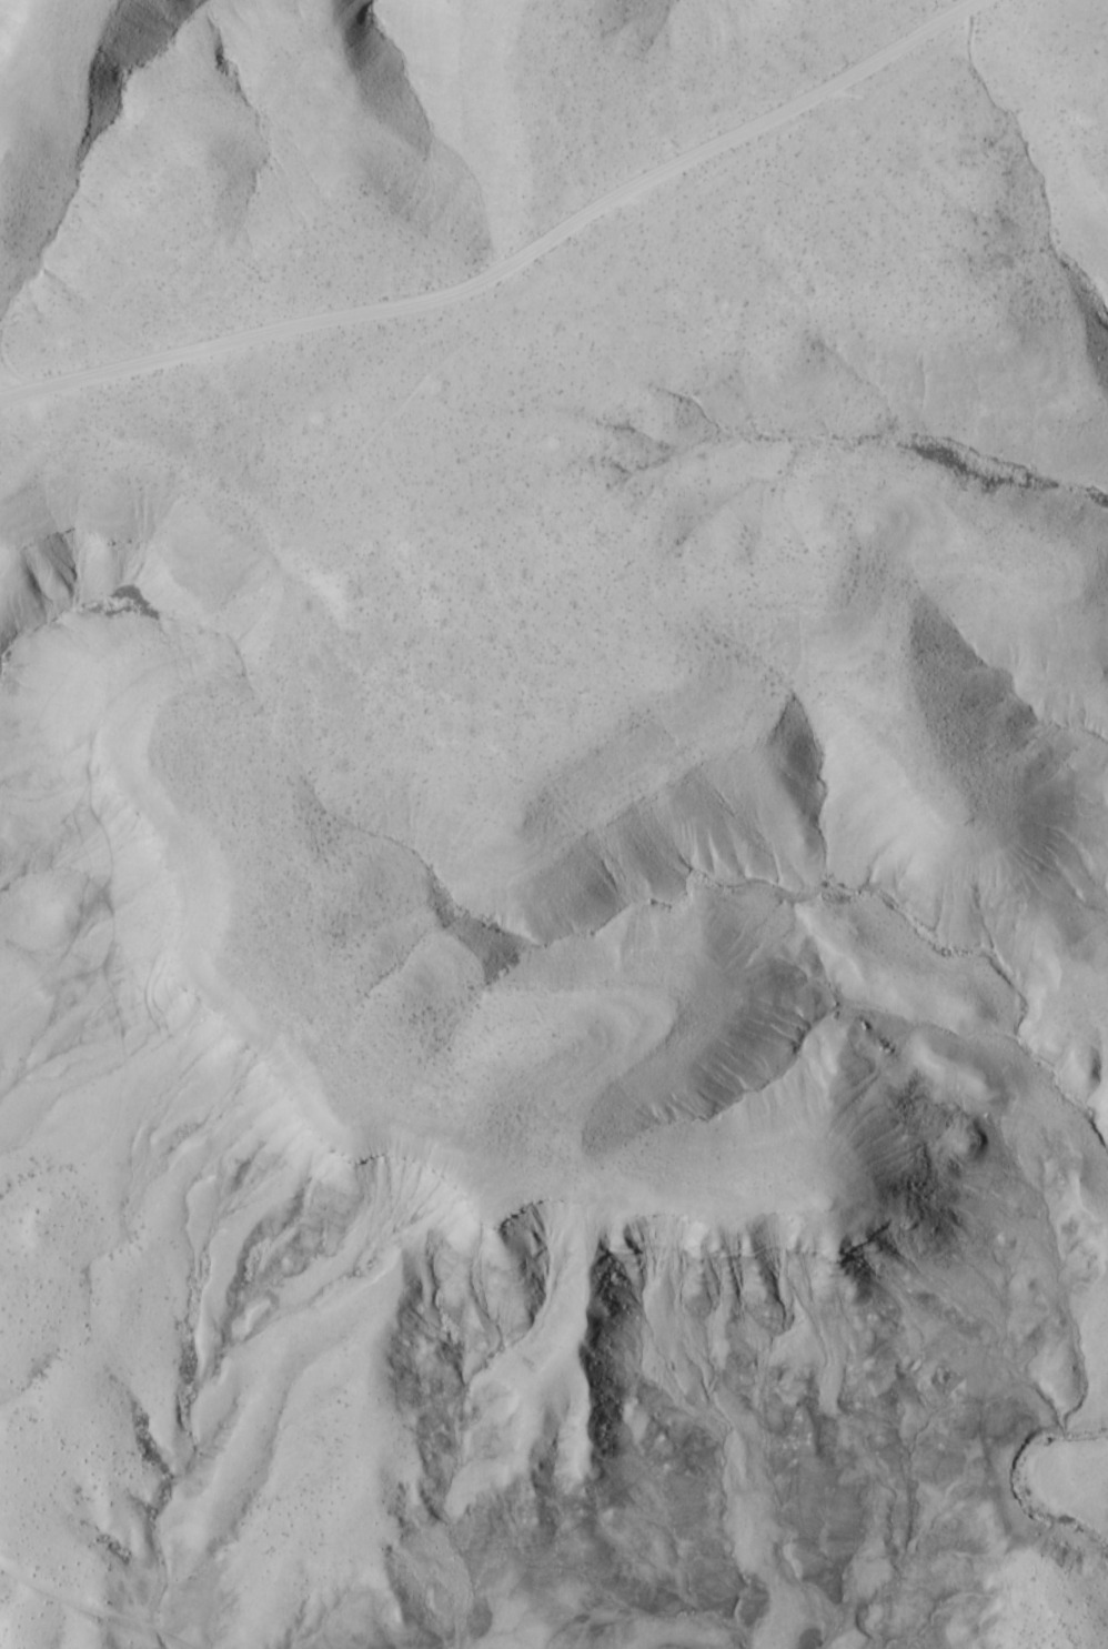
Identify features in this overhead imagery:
road: (463, 92)

